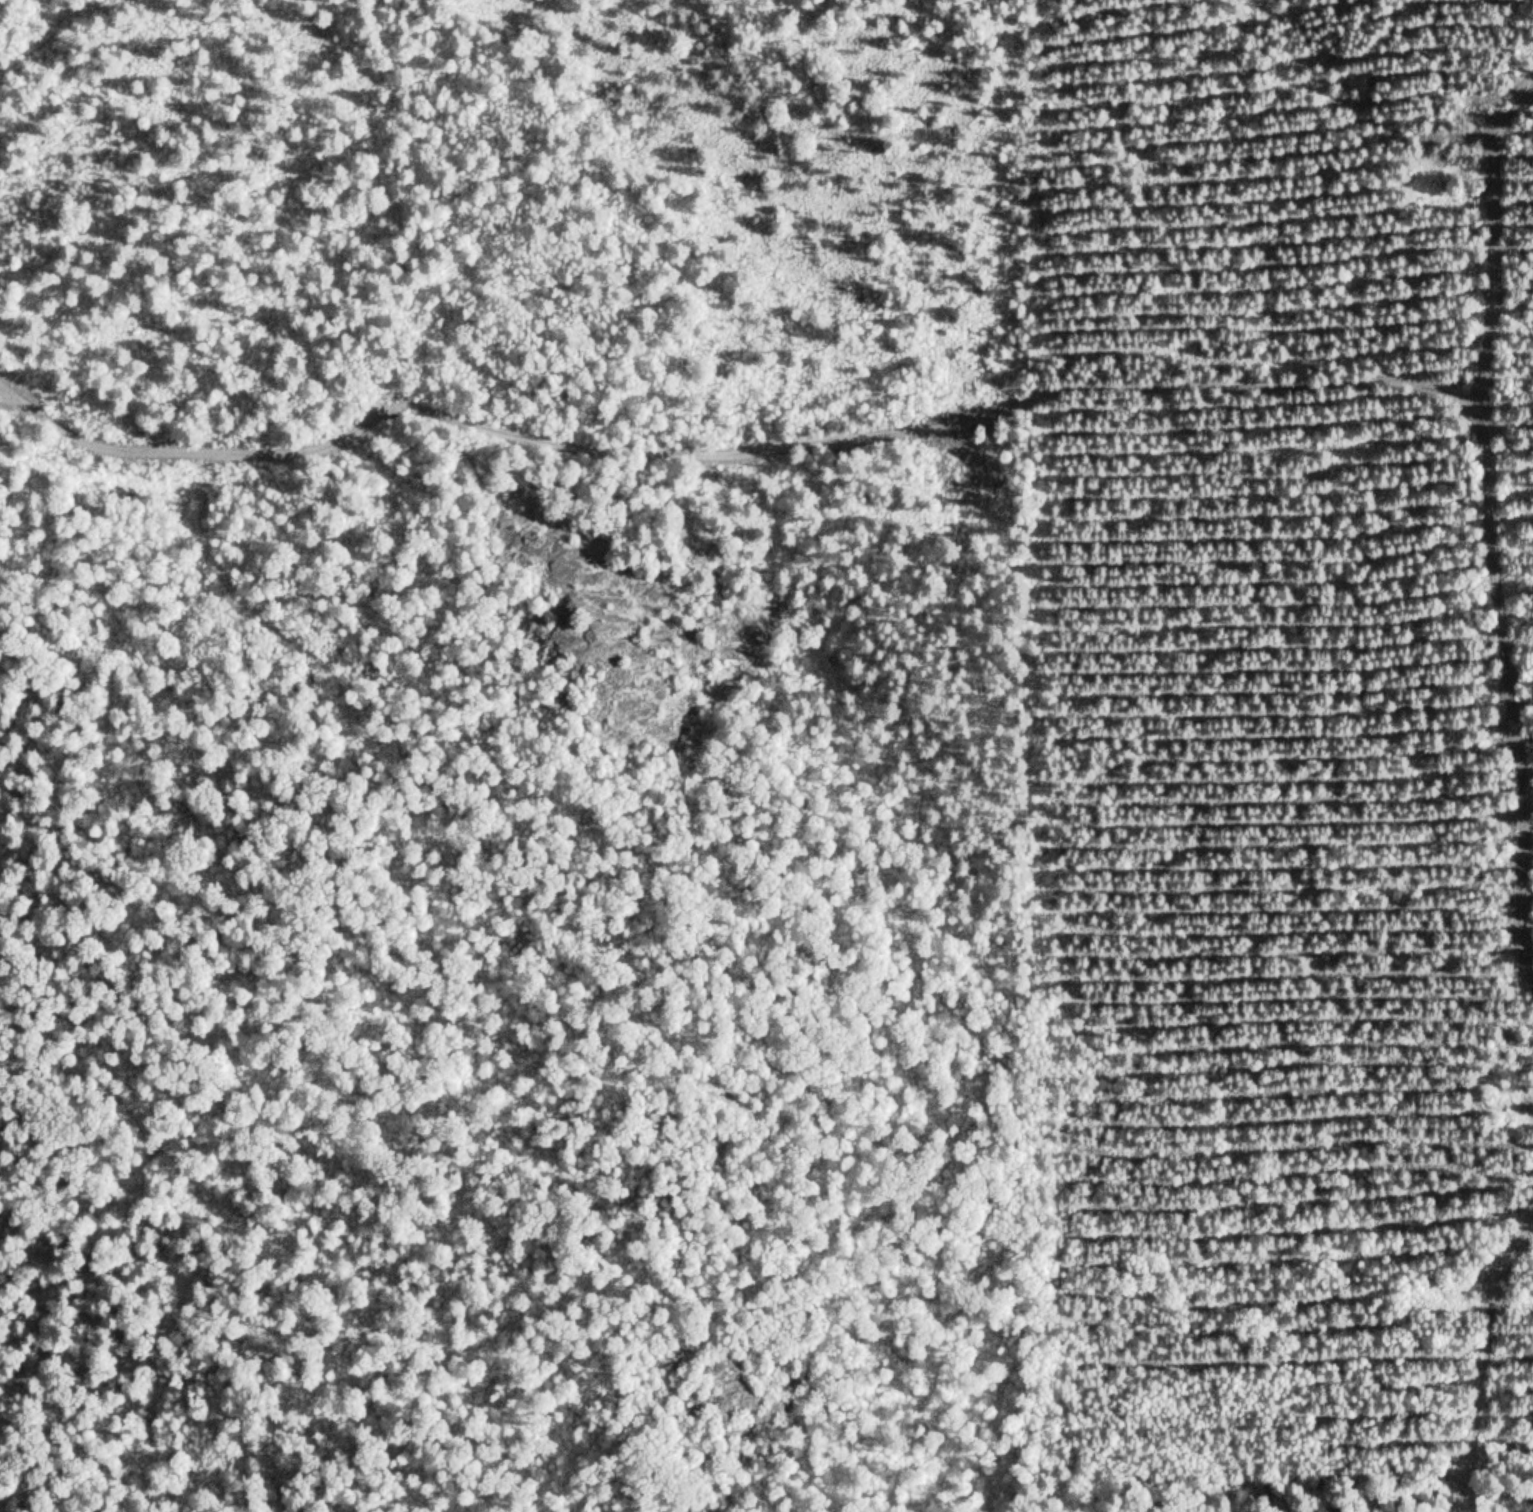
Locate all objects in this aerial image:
road: (1497, 531)

